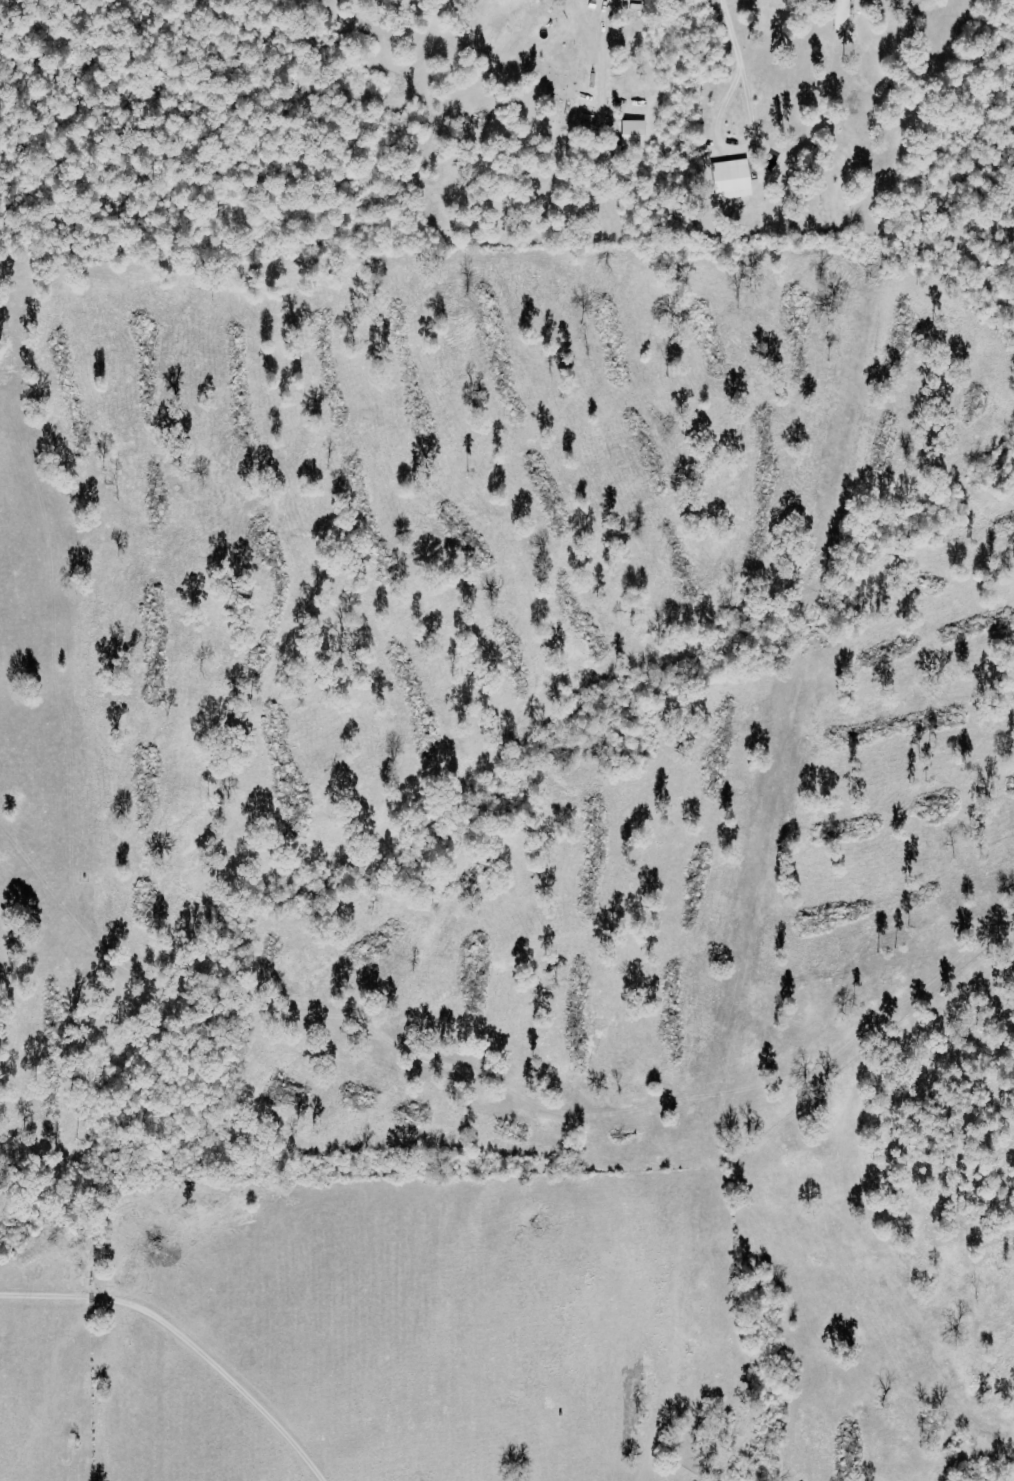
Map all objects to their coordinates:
building: (844, 15)
road: (730, 33)
road: (602, 51)
building: (634, 132)
road: (730, 147)
building: (734, 179)

